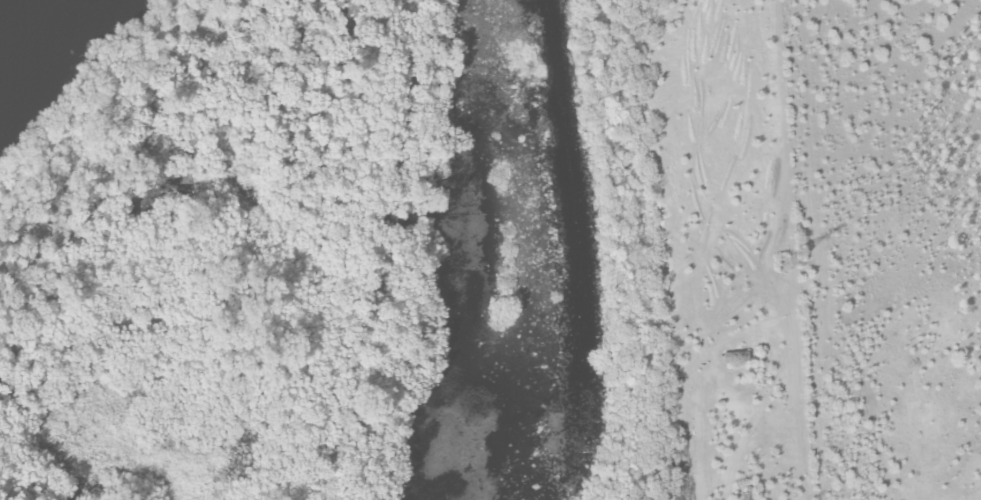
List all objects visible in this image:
power tower: (785, 264)

